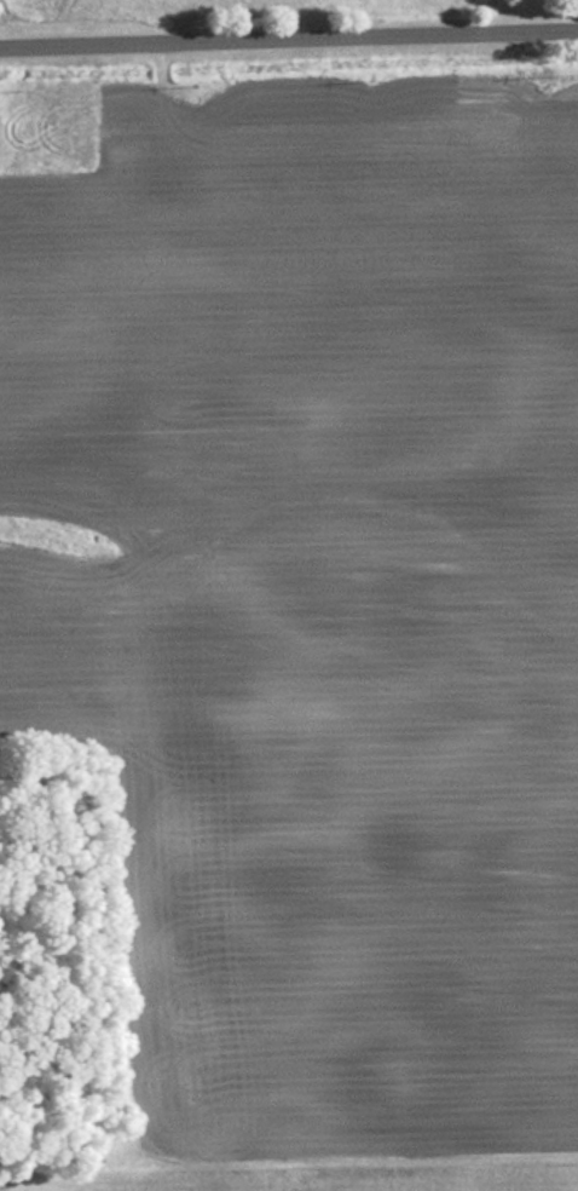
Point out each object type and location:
road: (289, 44)

